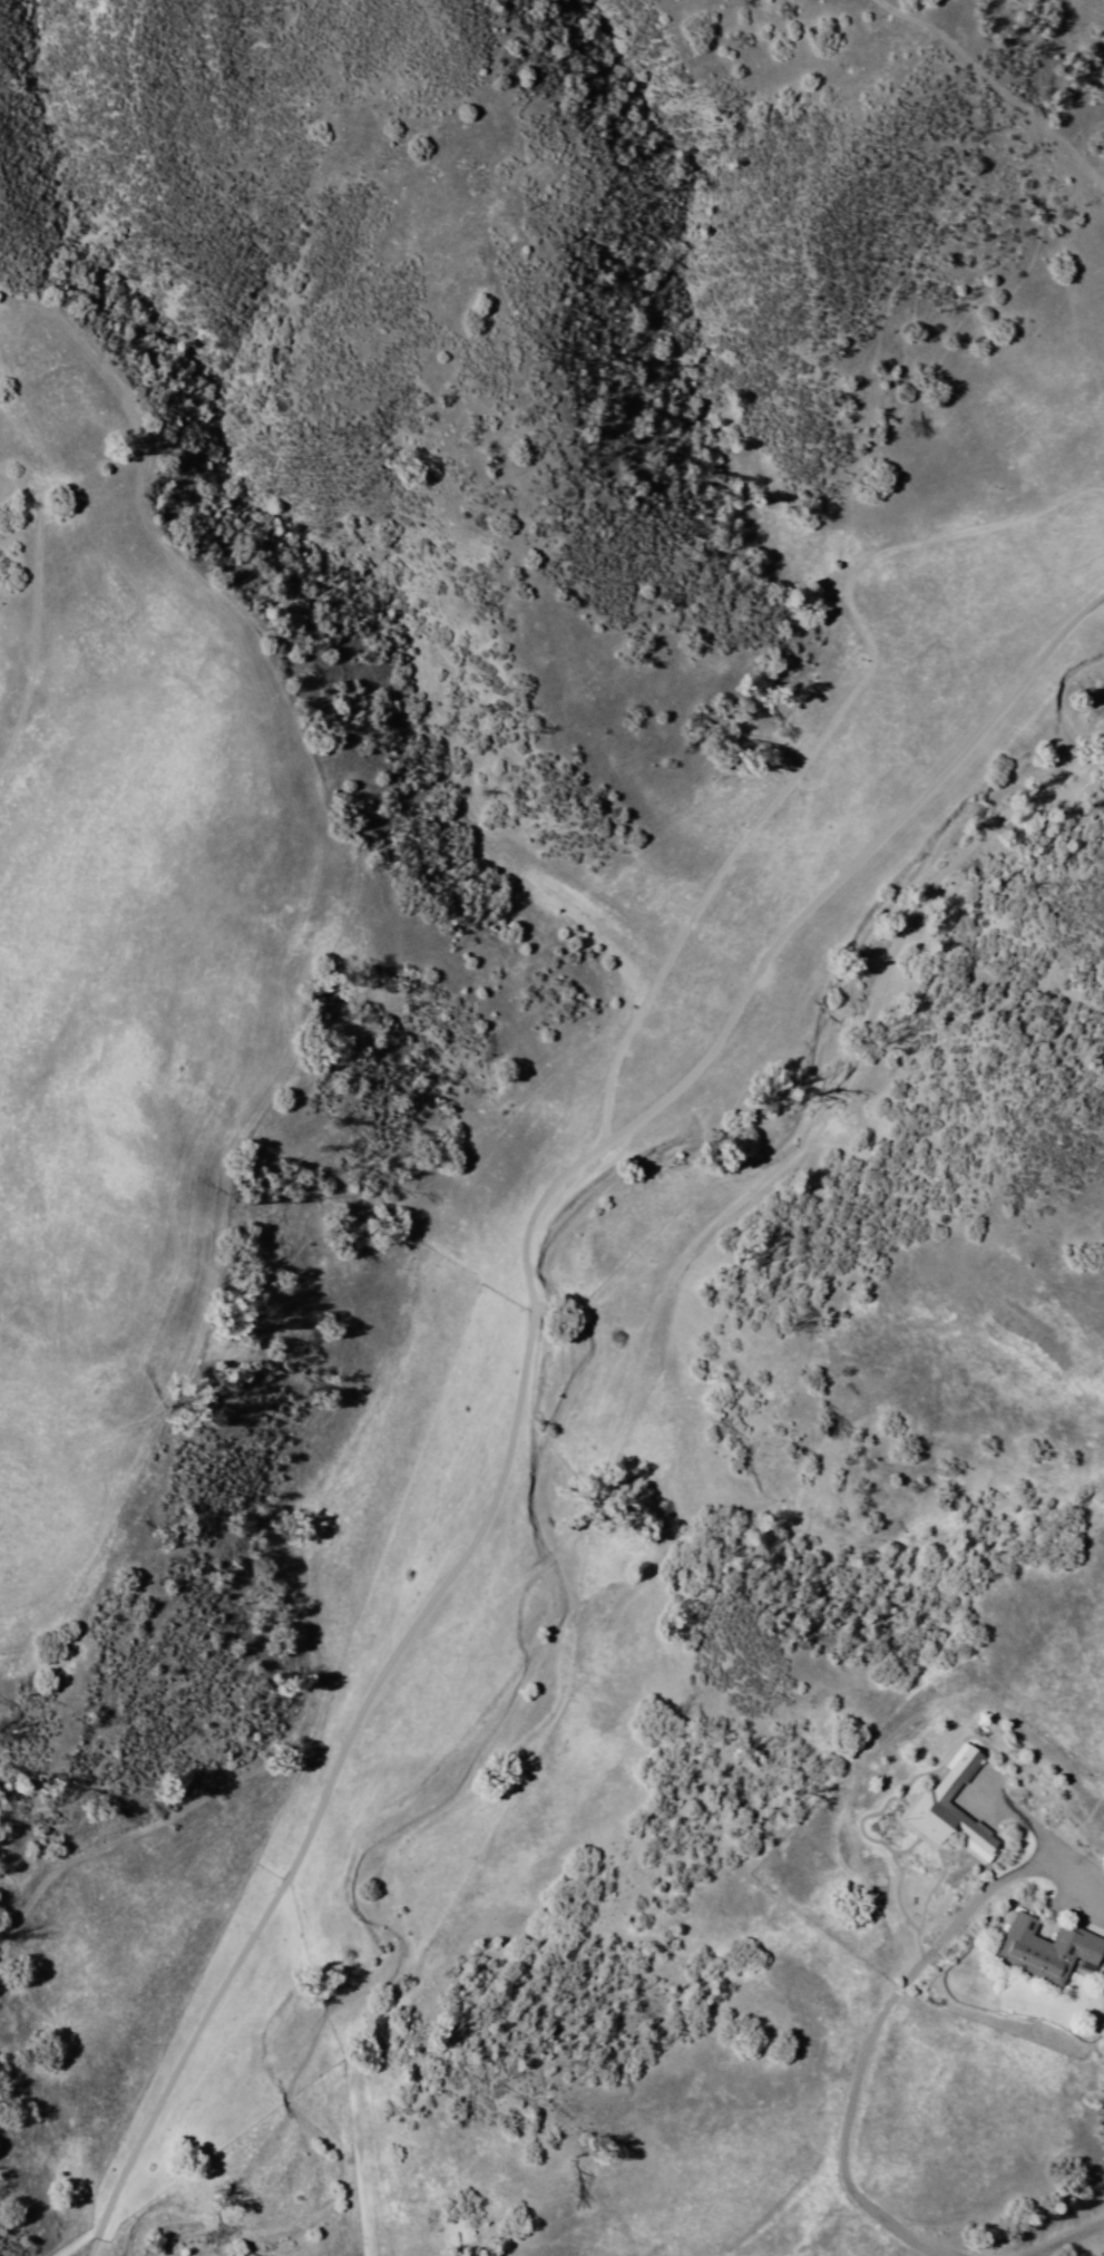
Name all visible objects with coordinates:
road: (525, 1367)
building: (942, 1808)
building: (1037, 1948)
road: (78, 2236)

